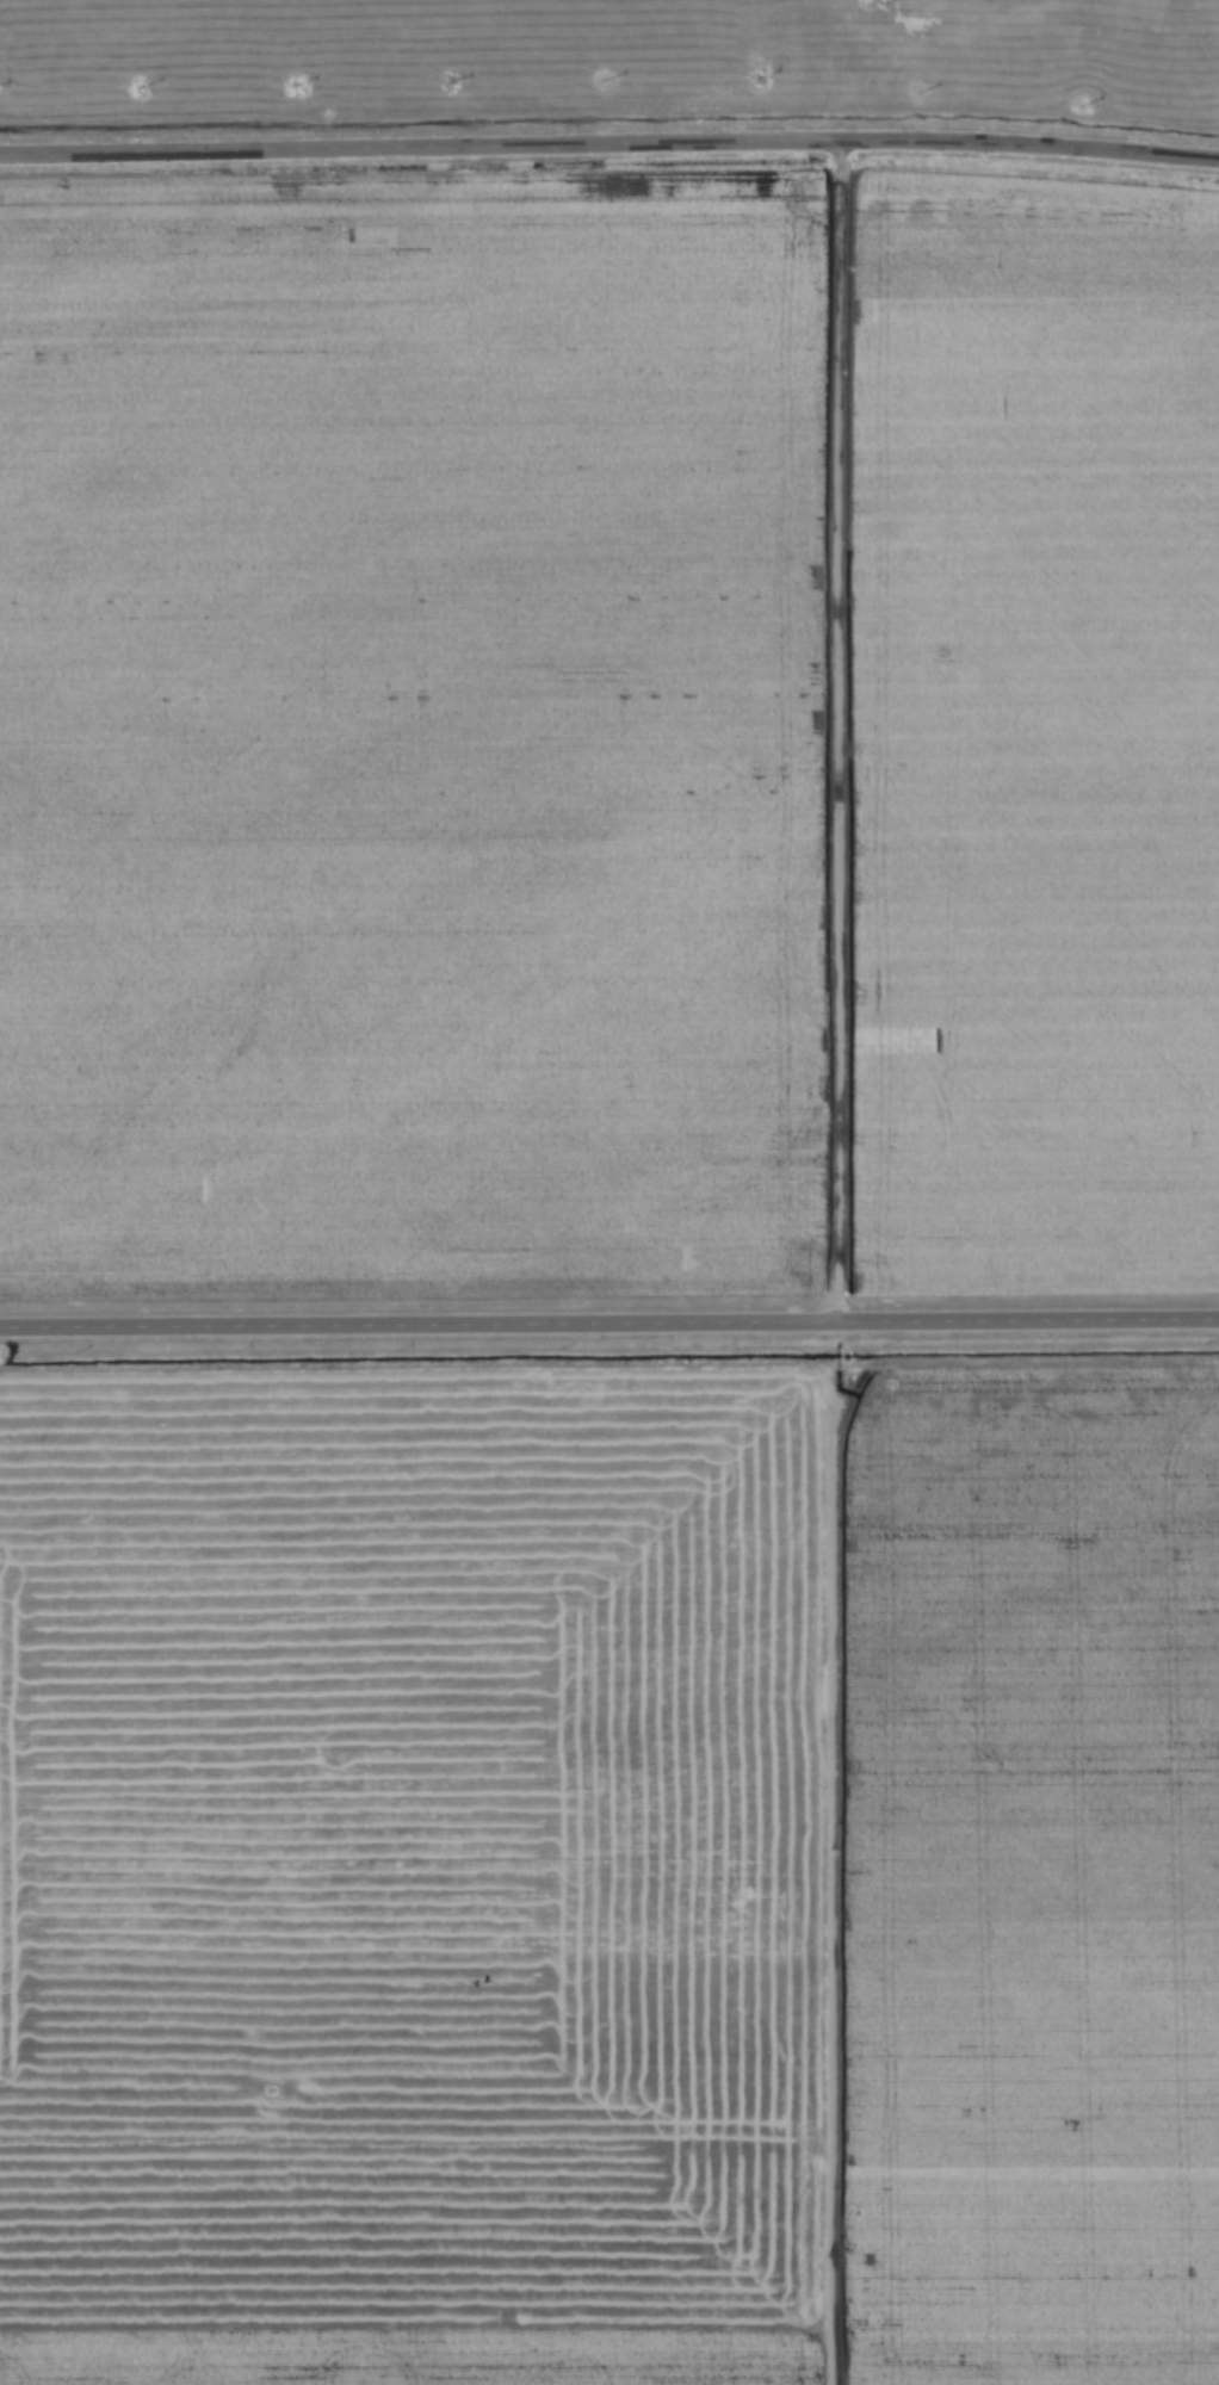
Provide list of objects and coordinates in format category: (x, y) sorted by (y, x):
road: (609, 147)
crop: (414, 735)
road: (609, 1321)
crop: (1040, 1860)
crop: (415, 1867)

